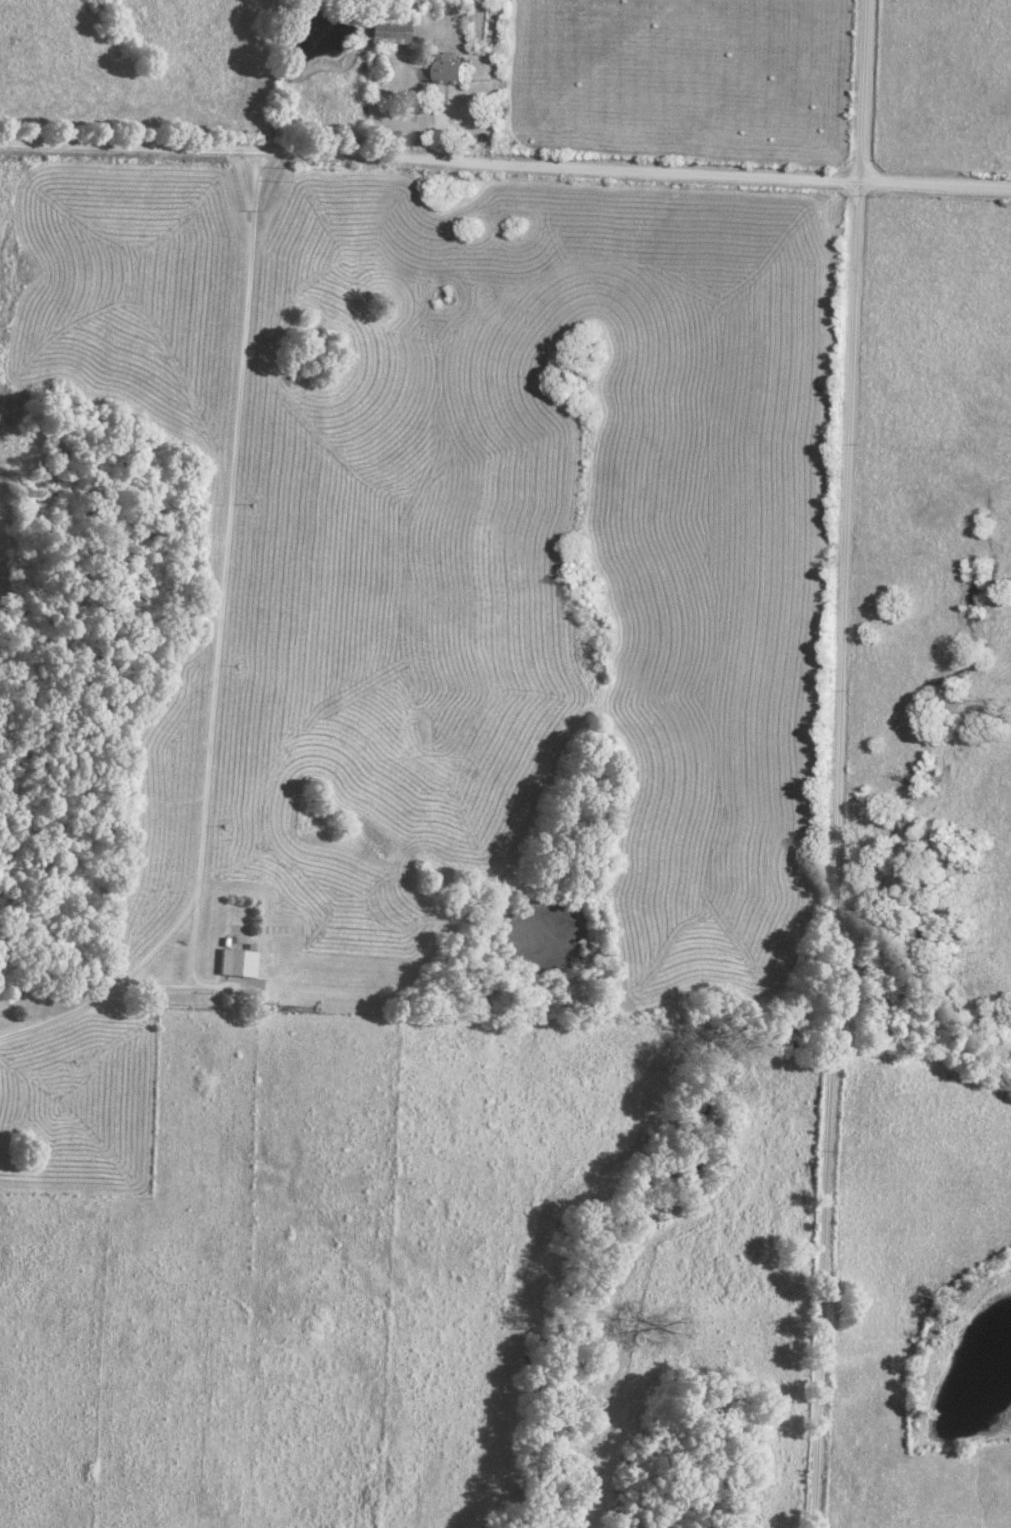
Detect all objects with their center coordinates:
building: (390, 34)
building: (460, 69)
road: (426, 105)
road: (505, 162)
road: (214, 672)
road: (837, 763)
building: (240, 964)
road: (57, 1019)

